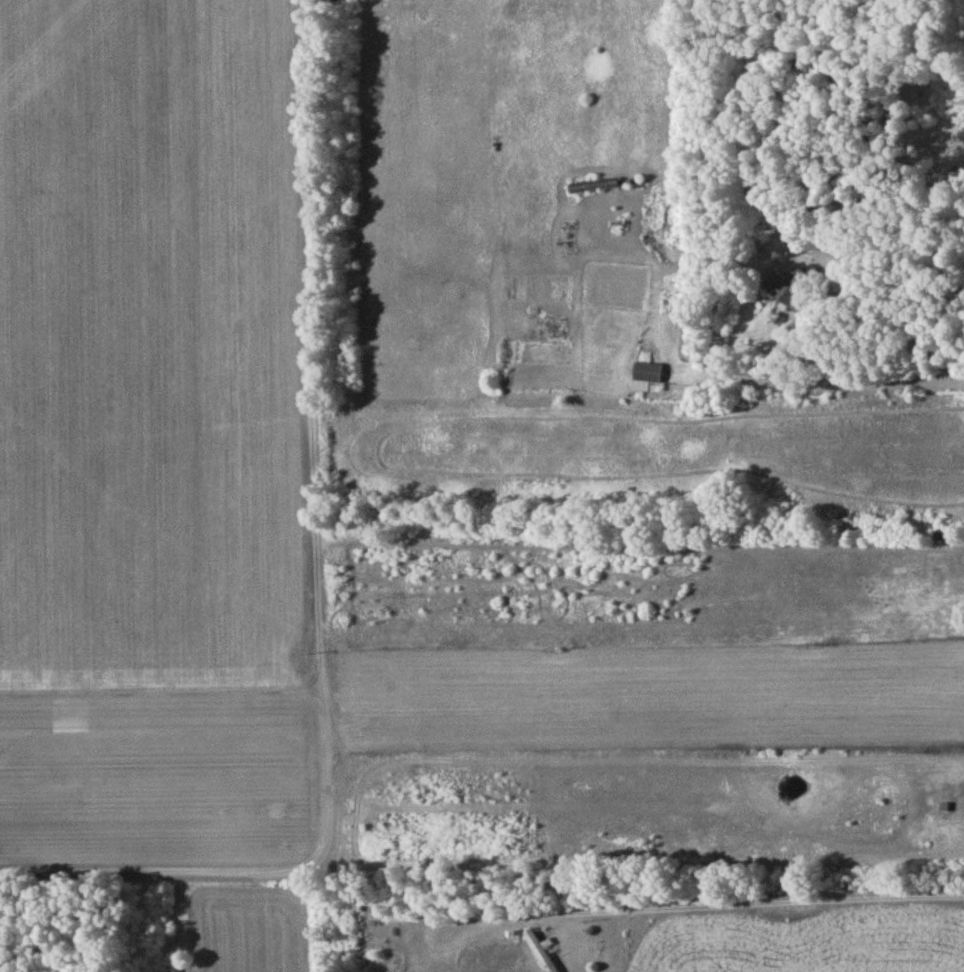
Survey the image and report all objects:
building: (593, 189)
building: (794, 294)
road: (898, 318)
building: (647, 371)
road: (831, 382)
road: (762, 902)
building: (540, 952)

